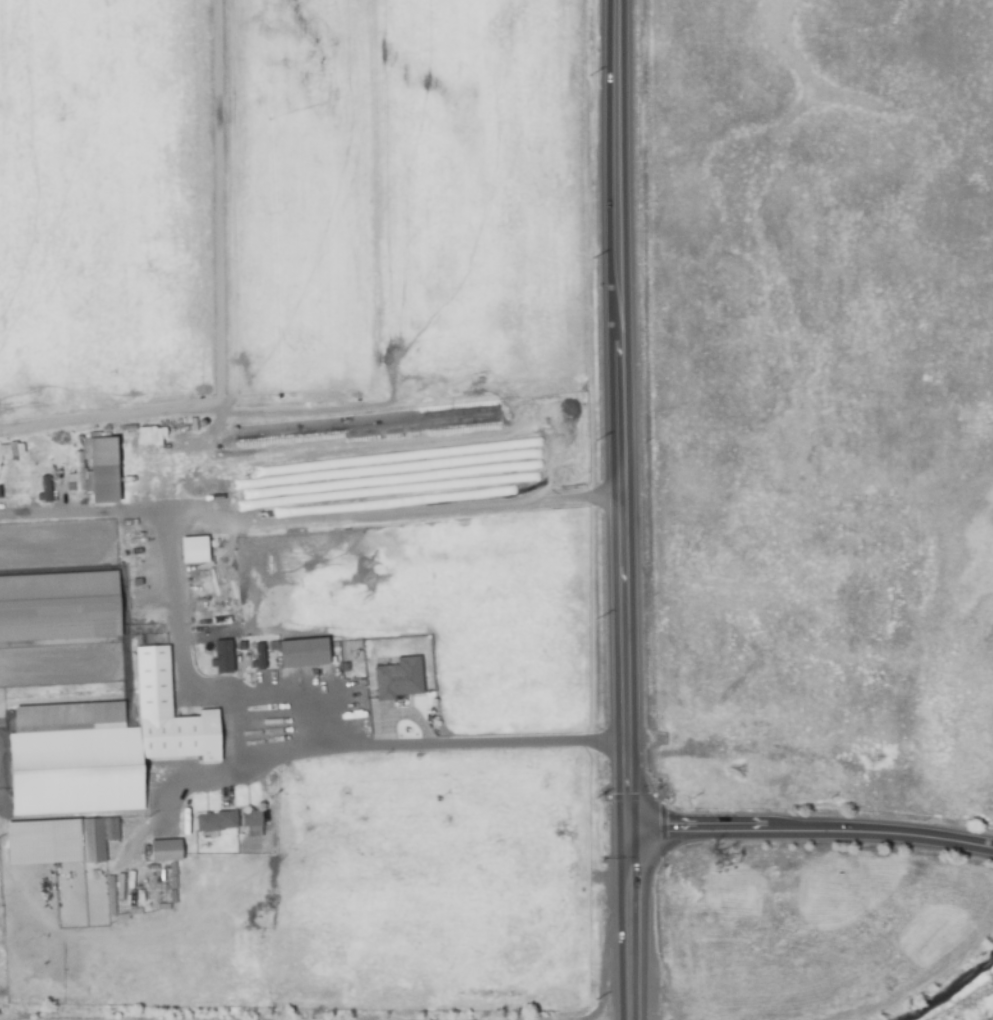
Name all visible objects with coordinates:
road: (625, 415)
building: (10, 448)
building: (103, 471)
building: (43, 489)
road: (313, 513)
building: (192, 549)
building: (59, 607)
building: (303, 653)
building: (223, 655)
building: (257, 657)
road: (182, 677)
building: (398, 680)
road: (479, 744)
building: (92, 757)
road: (249, 776)
building: (266, 808)
building: (251, 819)
building: (216, 822)
road: (813, 833)
building: (91, 841)
building: (165, 852)
building: (167, 888)
building: (129, 910)
road: (634, 925)
road: (604, 981)

